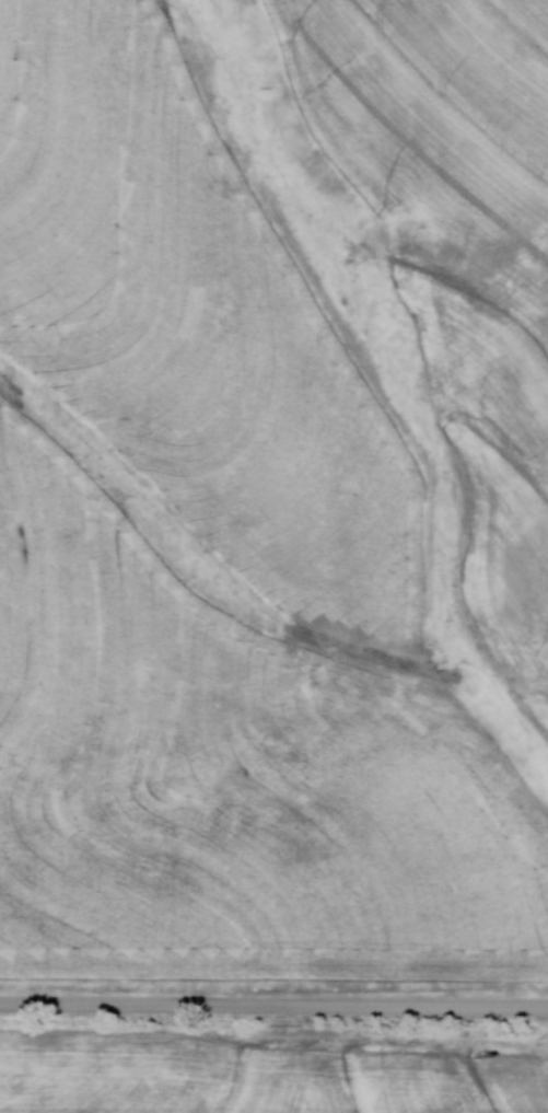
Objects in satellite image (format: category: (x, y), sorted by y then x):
road: (273, 1012)

